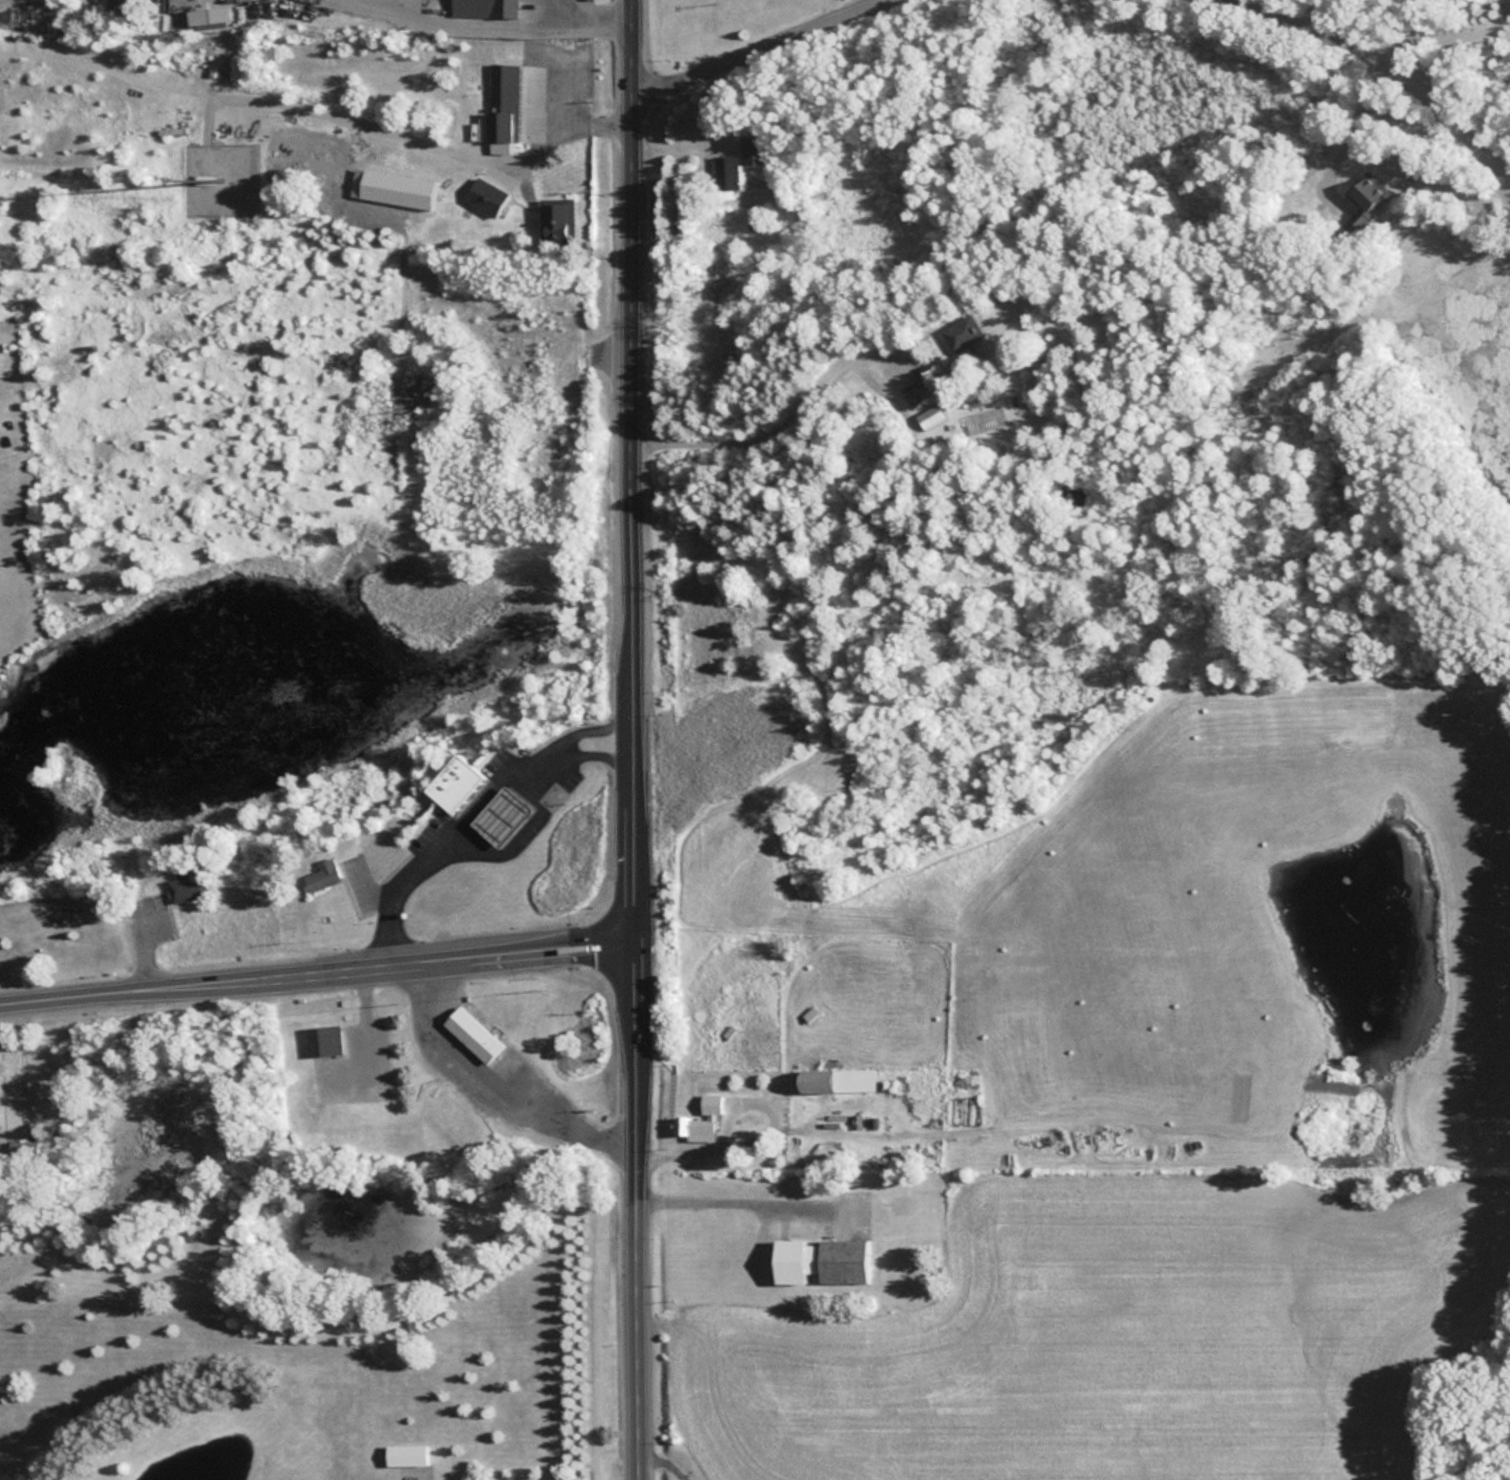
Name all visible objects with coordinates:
building: (485, 8)
road: (748, 44)
road: (1413, 67)
building: (502, 102)
building: (754, 149)
building: (727, 172)
building: (1369, 193)
building: (406, 196)
building: (756, 217)
building: (558, 220)
building: (964, 332)
building: (921, 392)
building: (933, 416)
road: (636, 740)
building: (457, 784)
building: (501, 815)
building: (323, 875)
building: (187, 884)
road: (318, 969)
building: (473, 1035)
building: (324, 1040)
building: (835, 1081)
building: (706, 1116)
building: (24, 1149)
building: (821, 1260)
building: (406, 1454)

